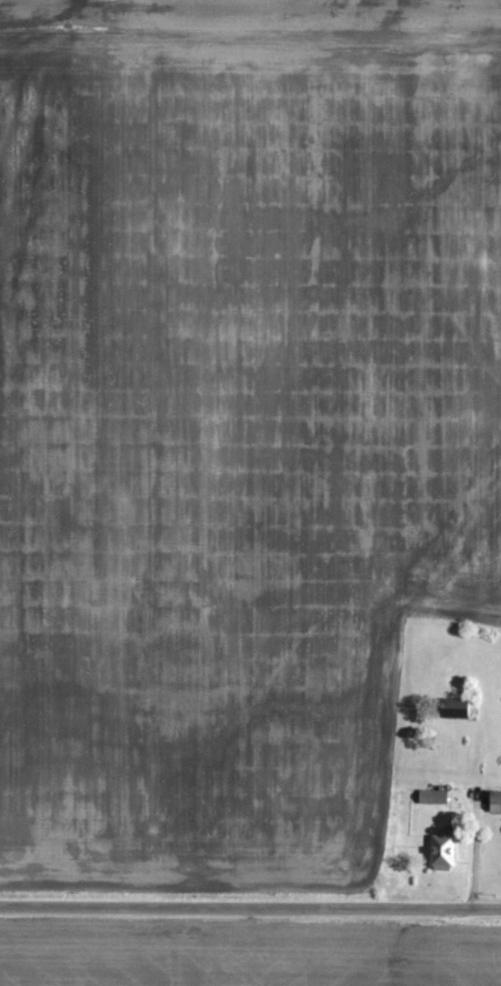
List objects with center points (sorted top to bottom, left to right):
building: (431, 794)
building: (495, 798)
building: (442, 847)
road: (250, 891)

